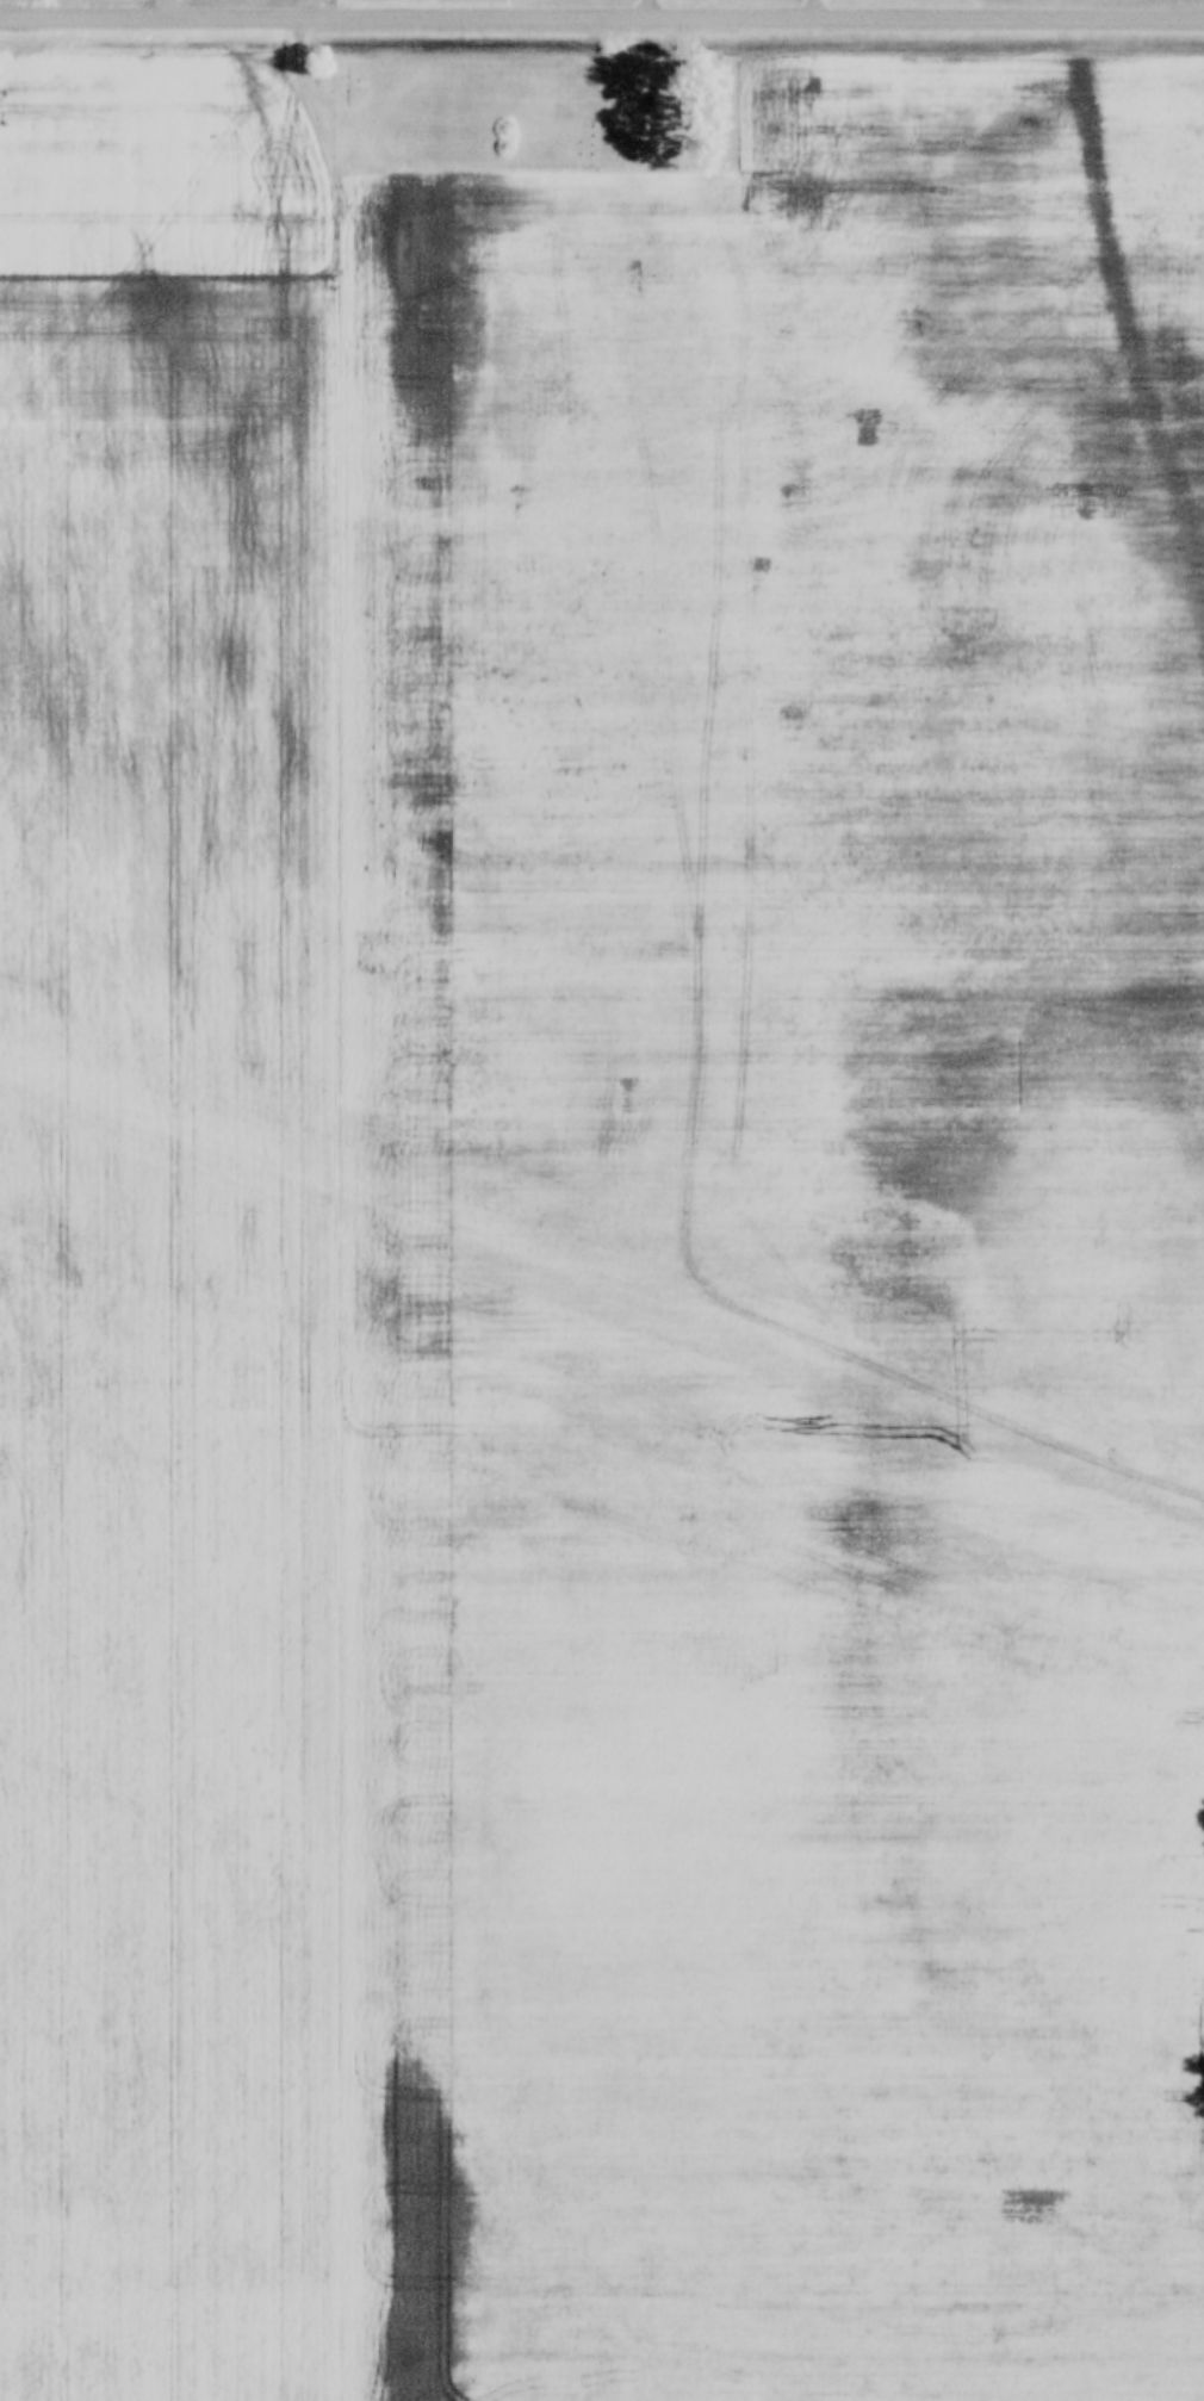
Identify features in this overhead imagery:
park: (42, 138)
park: (528, 153)

